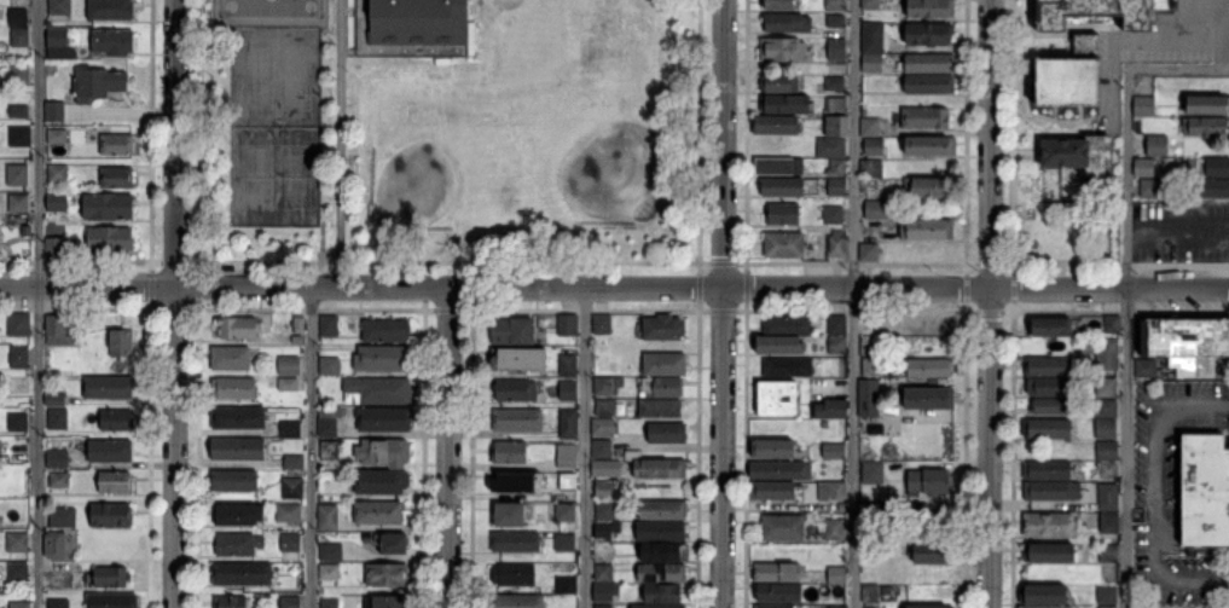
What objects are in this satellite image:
building: (779, 4)
building: (870, 4)
building: (834, 5)
building: (58, 6)
park: (269, 8)
building: (931, 8)
building: (110, 10)
building: (1101, 12)
building: (17, 17)
building: (835, 21)
building: (418, 22)
building: (785, 24)
building: (927, 34)
building: (19, 36)
building: (57, 36)
building: (871, 36)
building: (112, 42)
building: (783, 50)
building: (836, 50)
building: (870, 60)
building: (929, 63)
road: (1178, 65)
building: (18, 74)
building: (1071, 75)
building: (99, 82)
building: (779, 83)
building: (834, 83)
building: (929, 85)
building: (1205, 104)
building: (784, 105)
building: (1143, 105)
building: (835, 106)
building: (18, 111)
building: (54, 111)
building: (926, 118)
park: (276, 126)
building: (775, 126)
building: (836, 126)
building: (869, 127)
building: (1204, 127)
road: (197, 131)
road: (698, 131)
building: (18, 135)
building: (56, 137)
park: (451, 137)
road: (174, 143)
road: (341, 143)
building: (116, 145)
building: (931, 146)
building: (1156, 146)
building: (830, 147)
building: (873, 147)
building: (1079, 154)
building: (773, 164)
building: (1144, 167)
building: (835, 168)
building: (1208, 168)
building: (870, 169)
park: (611, 172)
building: (58, 173)
building: (16, 174)
building: (116, 176)
park: (415, 185)
building: (782, 186)
building: (836, 187)
building: (927, 187)
building: (1149, 187)
building: (1212, 187)
building: (17, 202)
building: (56, 202)
building: (108, 207)
building: (879, 209)
building: (782, 214)
building: (833, 215)
building: (929, 230)
building: (24, 231)
building: (109, 241)
building: (783, 244)
building: (835, 245)
building: (54, 249)
building: (868, 251)
road: (447, 262)
road: (87, 285)
road: (701, 286)
road: (37, 303)
road: (724, 303)
road: (853, 303)
road: (990, 303)
building: (18, 324)
building: (602, 324)
building: (868, 324)
building: (1112, 324)
building: (300, 325)
building: (327, 325)
building: (567, 325)
building: (787, 325)
building: (837, 325)
building: (931, 325)
building: (238, 326)
building: (1051, 326)
building: (663, 328)
building: (57, 331)
building: (384, 331)
building: (511, 331)
road: (1126, 336)
building: (1185, 337)
building: (296, 340)
building: (121, 342)
building: (778, 344)
building: (837, 344)
building: (1102, 352)
building: (17, 357)
building: (230, 358)
building: (382, 358)
building: (520, 359)
building: (568, 364)
building: (665, 364)
building: (290, 365)
building: (329, 366)
building: (789, 366)
building: (1193, 366)
building: (871, 367)
building: (929, 367)
building: (1049, 367)
building: (1146, 367)
building: (841, 372)
building: (288, 383)
building: (17, 384)
building: (869, 384)
building: (603, 386)
building: (108, 387)
building: (663, 387)
building: (1055, 387)
building: (1107, 387)
building: (233, 388)
building: (568, 388)
building: (381, 390)
building: (515, 390)
building: (777, 390)
building: (929, 398)
building: (53, 399)
building: (868, 404)
building: (777, 406)
building: (1051, 406)
building: (604, 407)
building: (660, 407)
building: (1106, 407)
building: (830, 410)
building: (330, 412)
building: (238, 417)
building: (56, 418)
building: (384, 419)
building: (517, 419)
building: (115, 421)
building: (17, 422)
building: (568, 423)
building: (825, 424)
building: (327, 427)
building: (603, 427)
building: (1105, 427)
building: (290, 428)
building: (1047, 429)
building: (667, 433)
road: (174, 447)
road: (309, 447)
road: (447, 447)
road: (585, 447)
building: (602, 448)
building: (773, 448)
building: (238, 450)
building: (329, 450)
building: (833, 450)
building: (109, 451)
building: (1107, 451)
building: (383, 452)
building: (509, 452)
building: (567, 456)
building: (56, 458)
building: (295, 462)
building: (823, 465)
building: (601, 468)
building: (660, 469)
building: (781, 470)
building: (1047, 470)
building: (1107, 471)
building: (873, 473)
building: (58, 480)
building: (233, 480)
building: (382, 481)
building: (567, 481)
building: (927, 481)
building: (112, 482)
building: (516, 482)
building: (292, 488)
building: (604, 490)
building: (772, 490)
building: (831, 490)
building: (1205, 490)
building: (1051, 491)
building: (1108, 496)
road: (1161, 496)
parking lot: (1171, 496)
building: (860, 506)
building: (604, 510)
building: (663, 510)
building: (898, 510)
building: (923, 510)
building: (288, 513)
building: (378, 513)
building: (566, 513)
building: (110, 514)
building: (239, 514)
building: (509, 515)
building: (62, 517)
building: (327, 517)
building: (0, 519)
building: (1108, 523)
building: (1048, 525)
building: (908, 526)
building: (782, 527)
building: (602, 528)
building: (834, 529)
building: (873, 529)
building: (923, 529)
building: (661, 531)
building: (515, 542)
building: (564, 542)
building: (16, 543)
building: (290, 543)
building: (395, 543)
building: (237, 544)
building: (54, 545)
building: (604, 551)
building: (662, 551)
building: (331, 552)
building: (929, 552)
building: (1049, 552)
building: (1108, 554)
building: (329, 571)
building: (661, 572)
building: (18, 573)
building: (242, 573)
building: (603, 573)
building: (777, 573)
building: (387, 574)
building: (514, 574)
building: (836, 575)
building: (110, 577)
building: (57, 580)
building: (566, 585)
building: (604, 591)
building: (778, 592)
building: (870, 592)
building: (662, 593)
building: (1045, 595)
building: (1106, 596)
building: (110, 601)
building: (517, 601)
building: (230, 602)
building: (289, 602)
building: (384, 602)
building: (18, 603)
building: (57, 603)
building: (329, 603)
building: (659, 606)
building: (603, 607)
building: (775, 607)
building: (840, 607)
building: (865, 607)
building: (931, 607)
building: (1044, 607)
building: (1108, 607)

